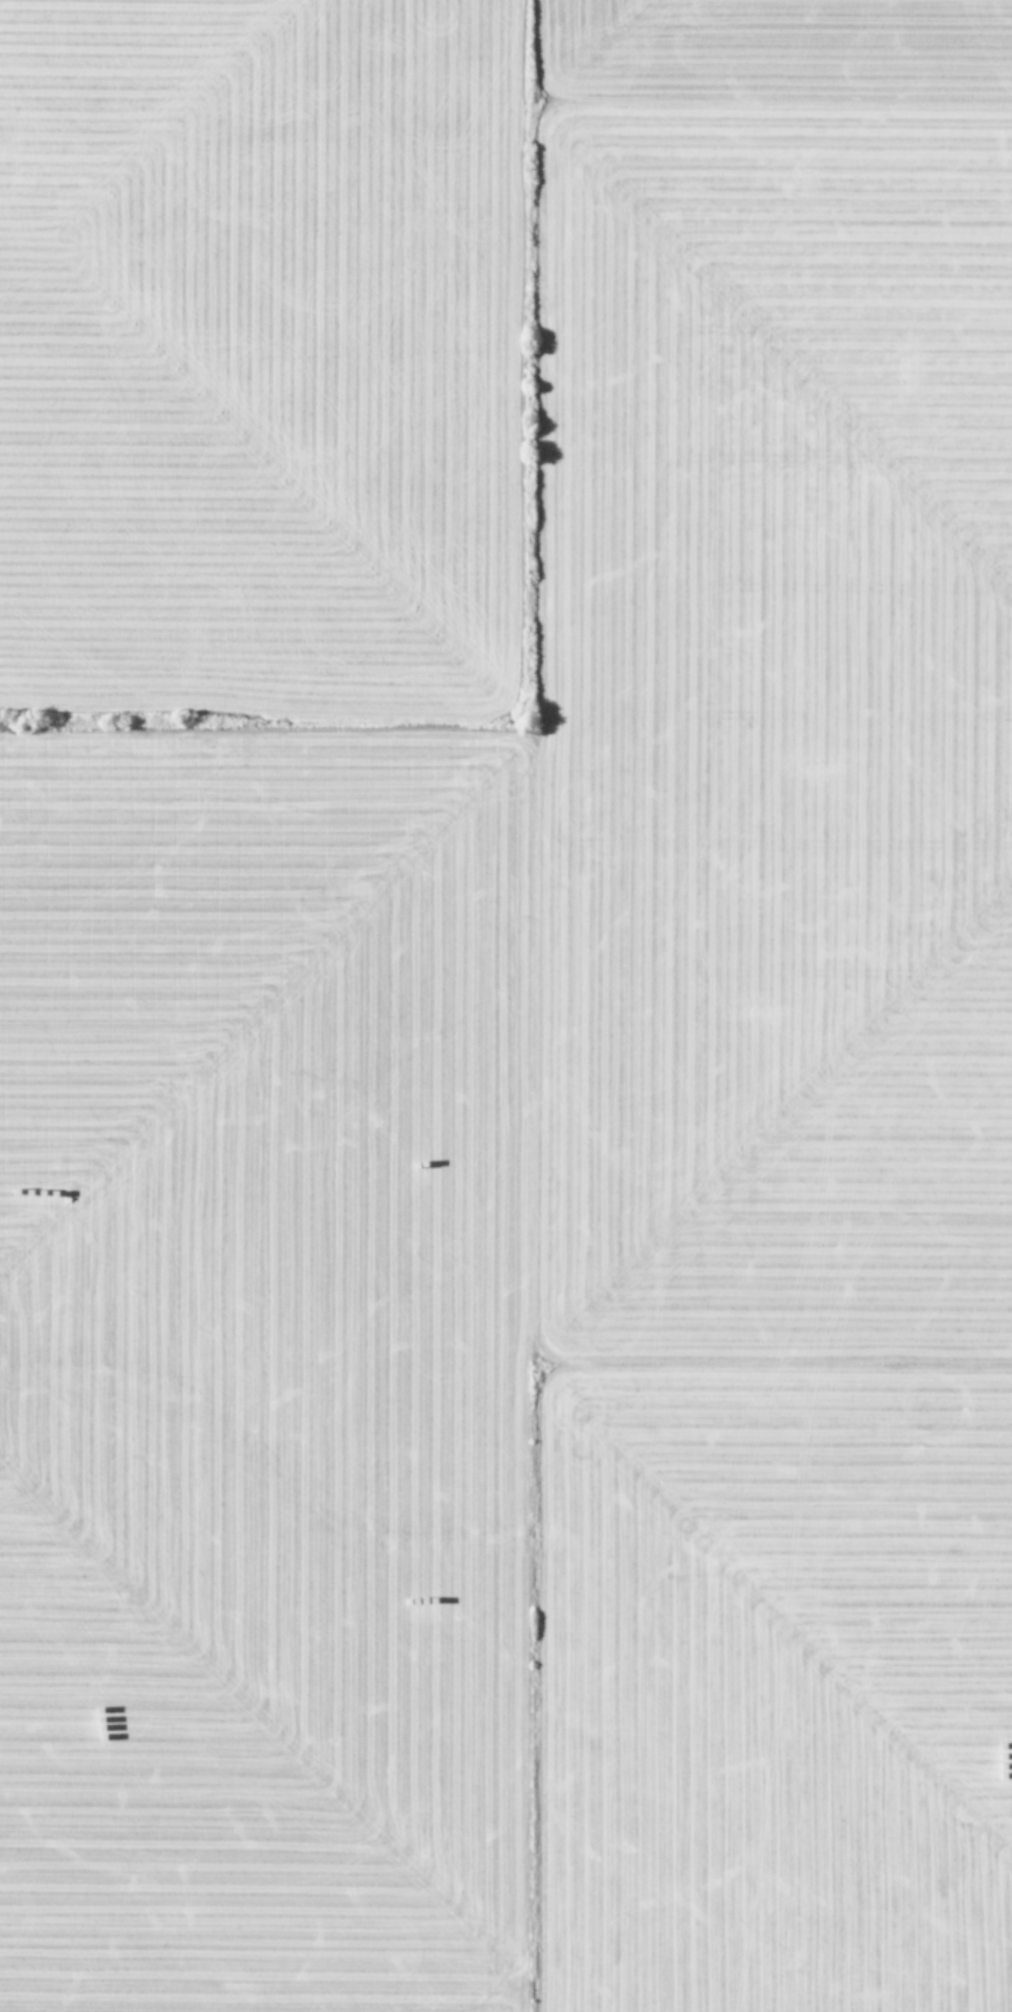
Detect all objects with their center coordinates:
crop: (506, 1006)

